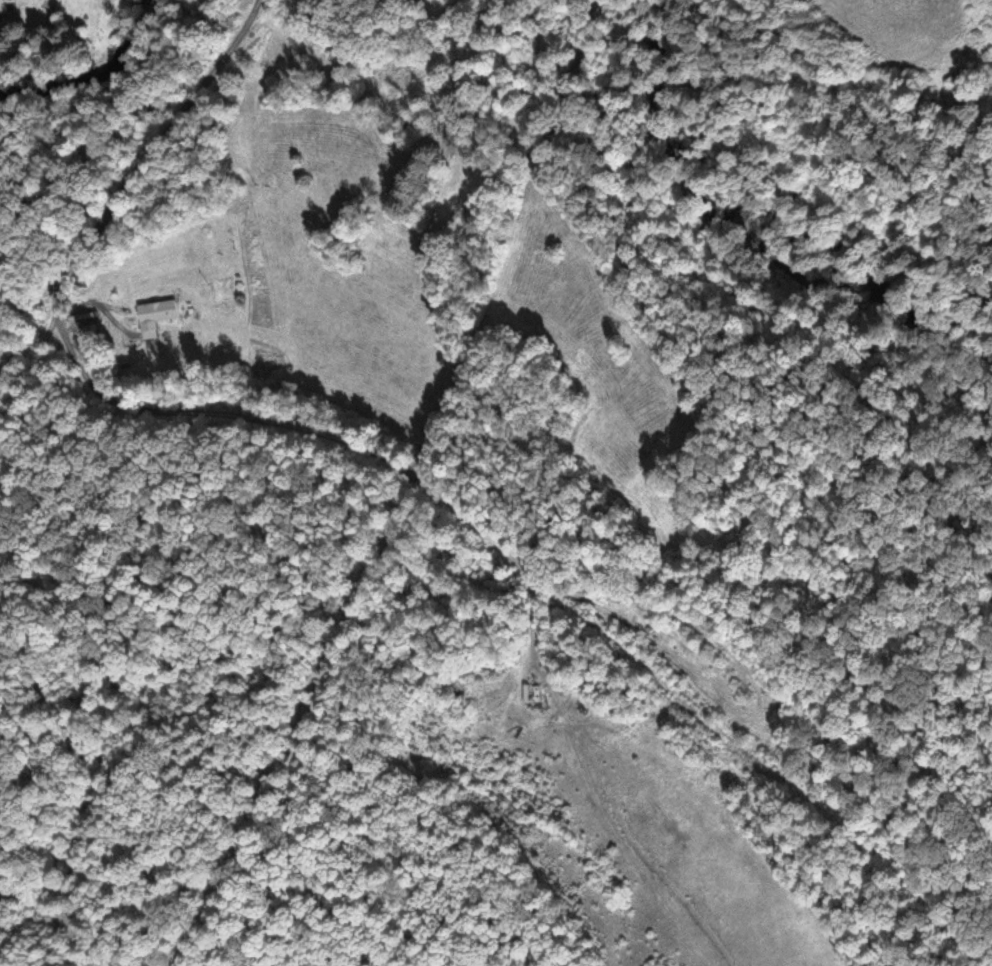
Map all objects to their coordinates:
building: (159, 312)
road: (66, 337)

